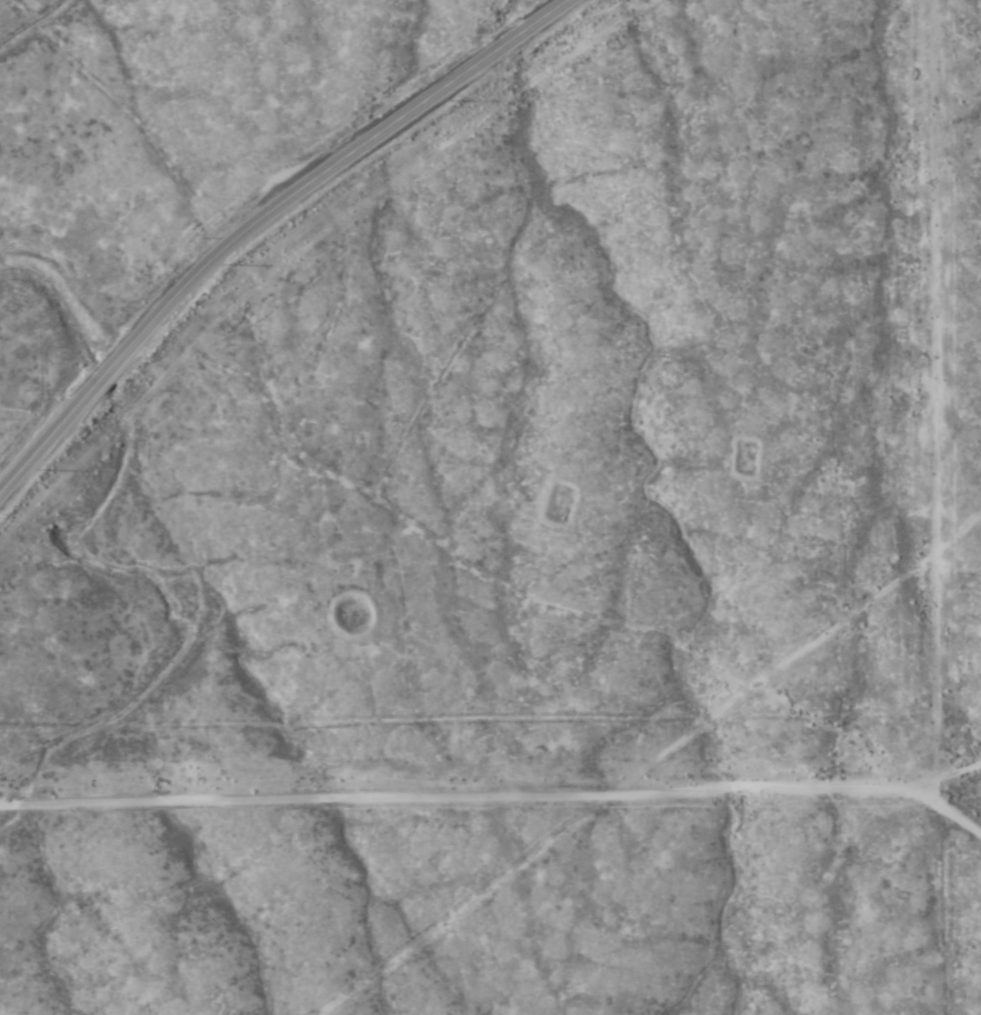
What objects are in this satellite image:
road: (259, 218)
road: (841, 627)
road: (536, 823)
road: (608, 823)

